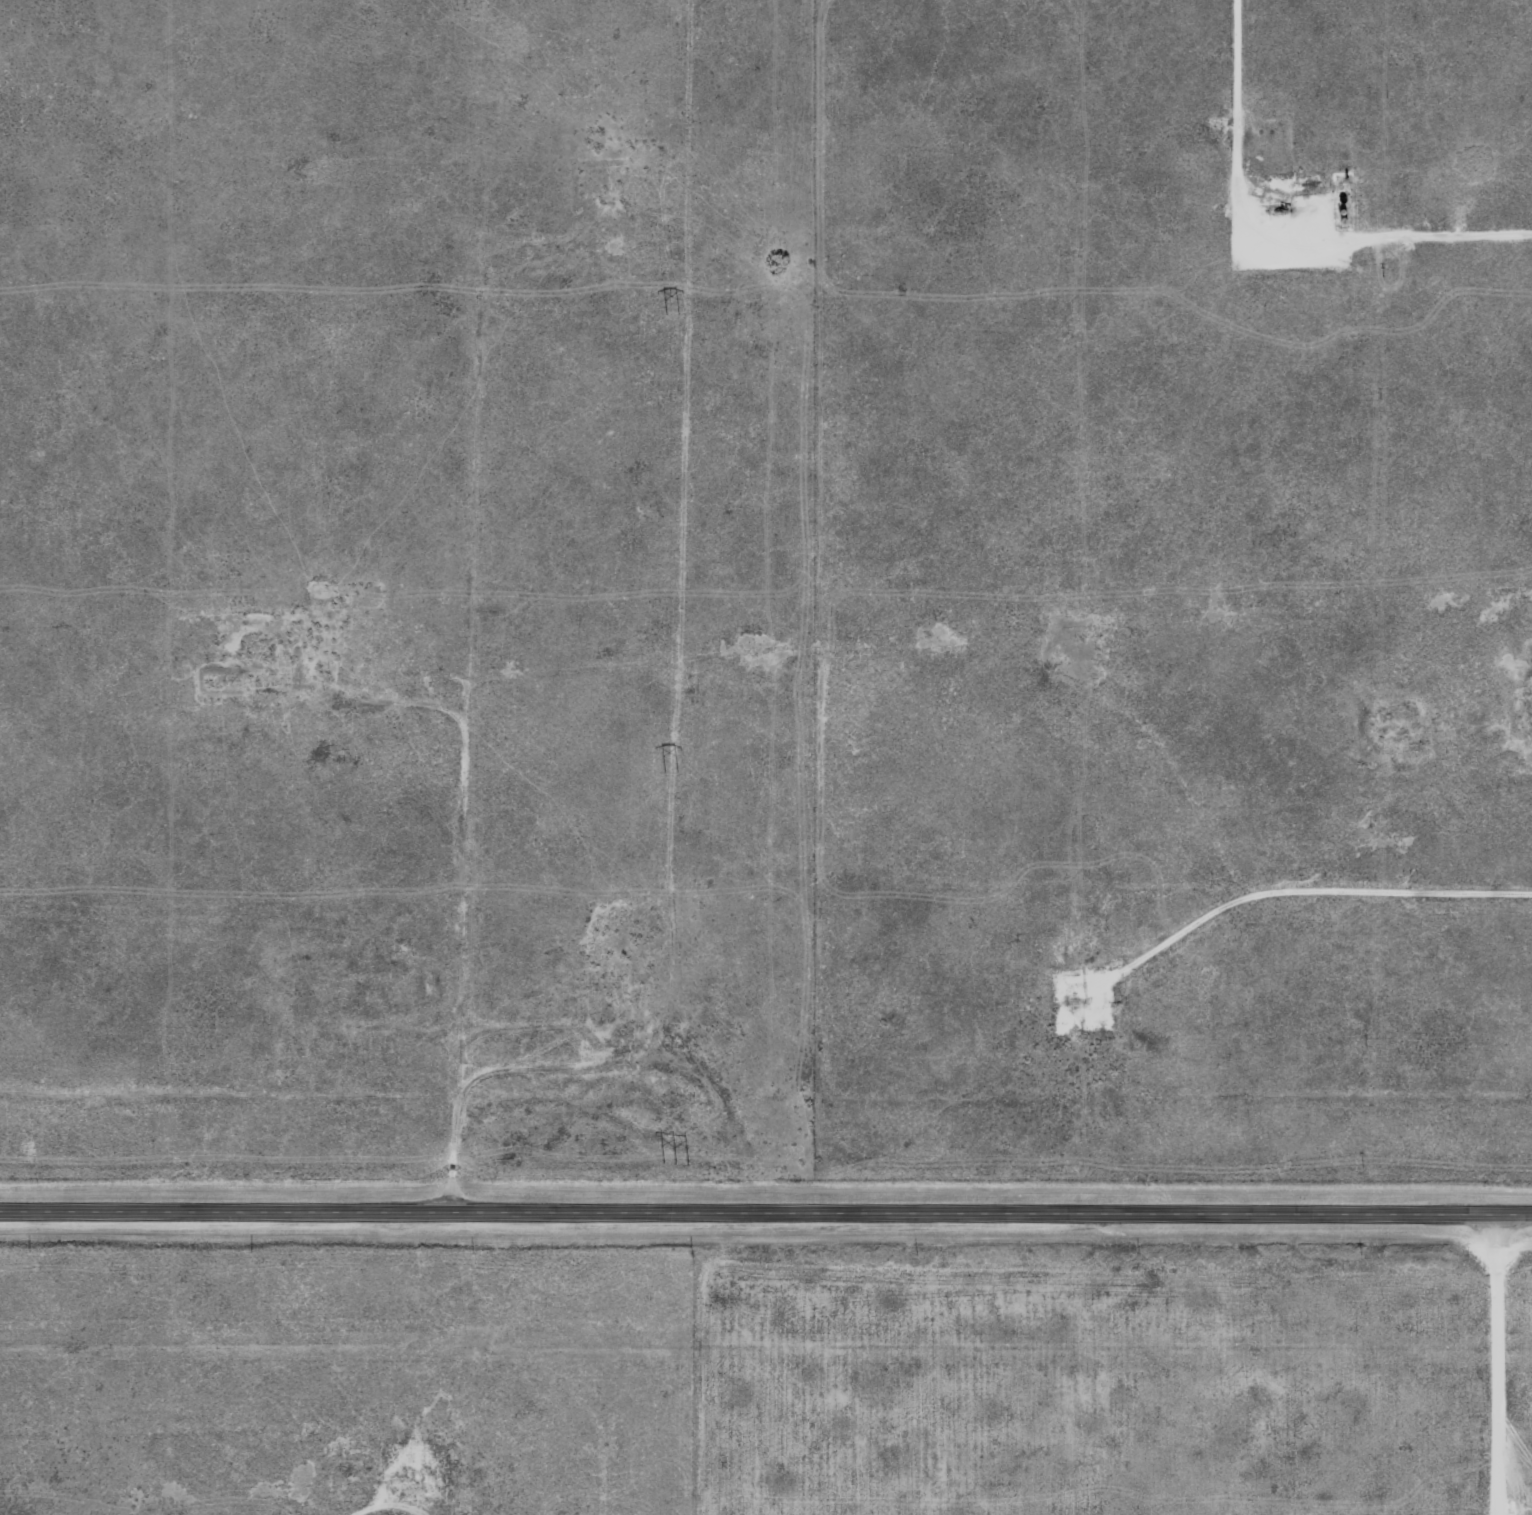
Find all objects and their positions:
power tower: (675, 313)
power tower: (673, 767)
road: (1313, 879)
power tower: (679, 1160)
road: (766, 1205)
road: (1504, 1360)
road: (365, 1513)

